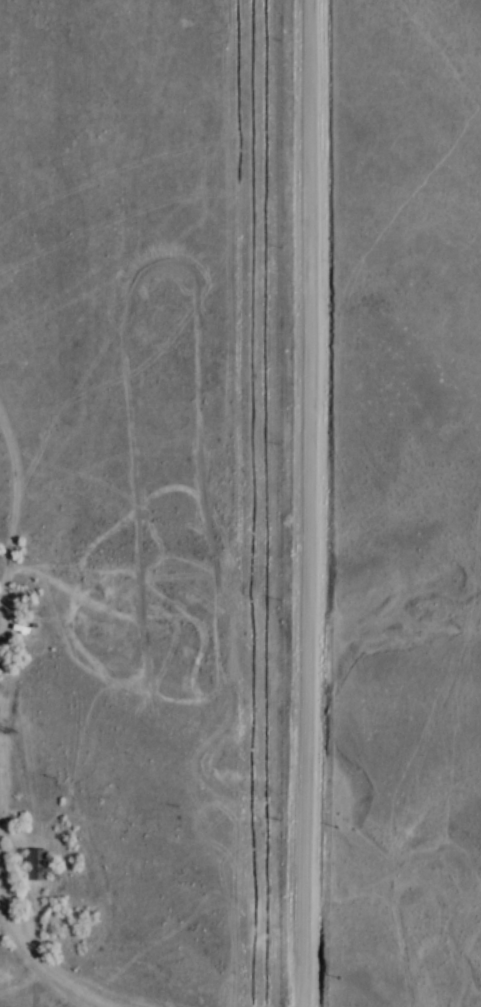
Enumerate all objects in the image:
road: (299, 503)
building: (38, 864)
building: (25, 872)
road: (34, 974)

